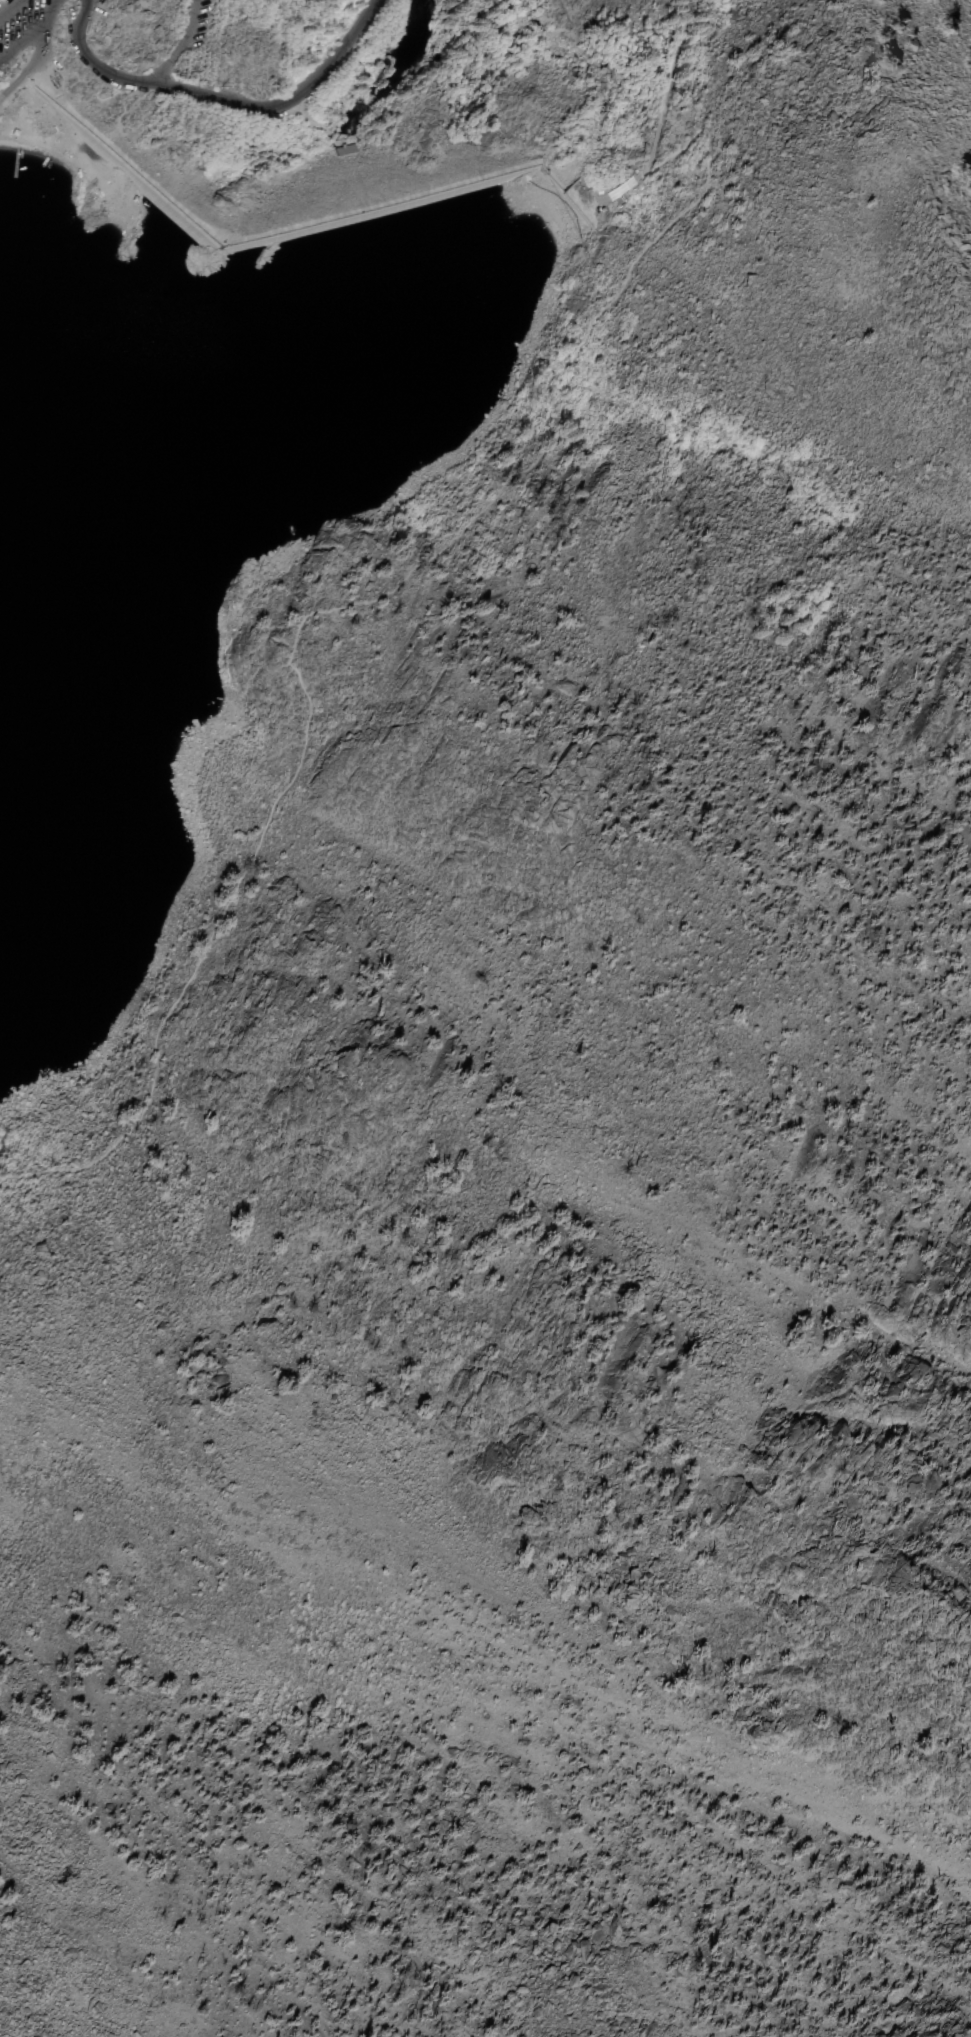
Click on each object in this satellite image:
road: (9, 7)
road: (49, 10)
parking lot: (191, 23)
parking lot: (18, 25)
road: (23, 40)
road: (178, 45)
road: (30, 64)
road: (222, 99)
road: (309, 120)
building: (344, 149)
road: (319, 217)
dam: (294, 233)
road: (403, 591)

